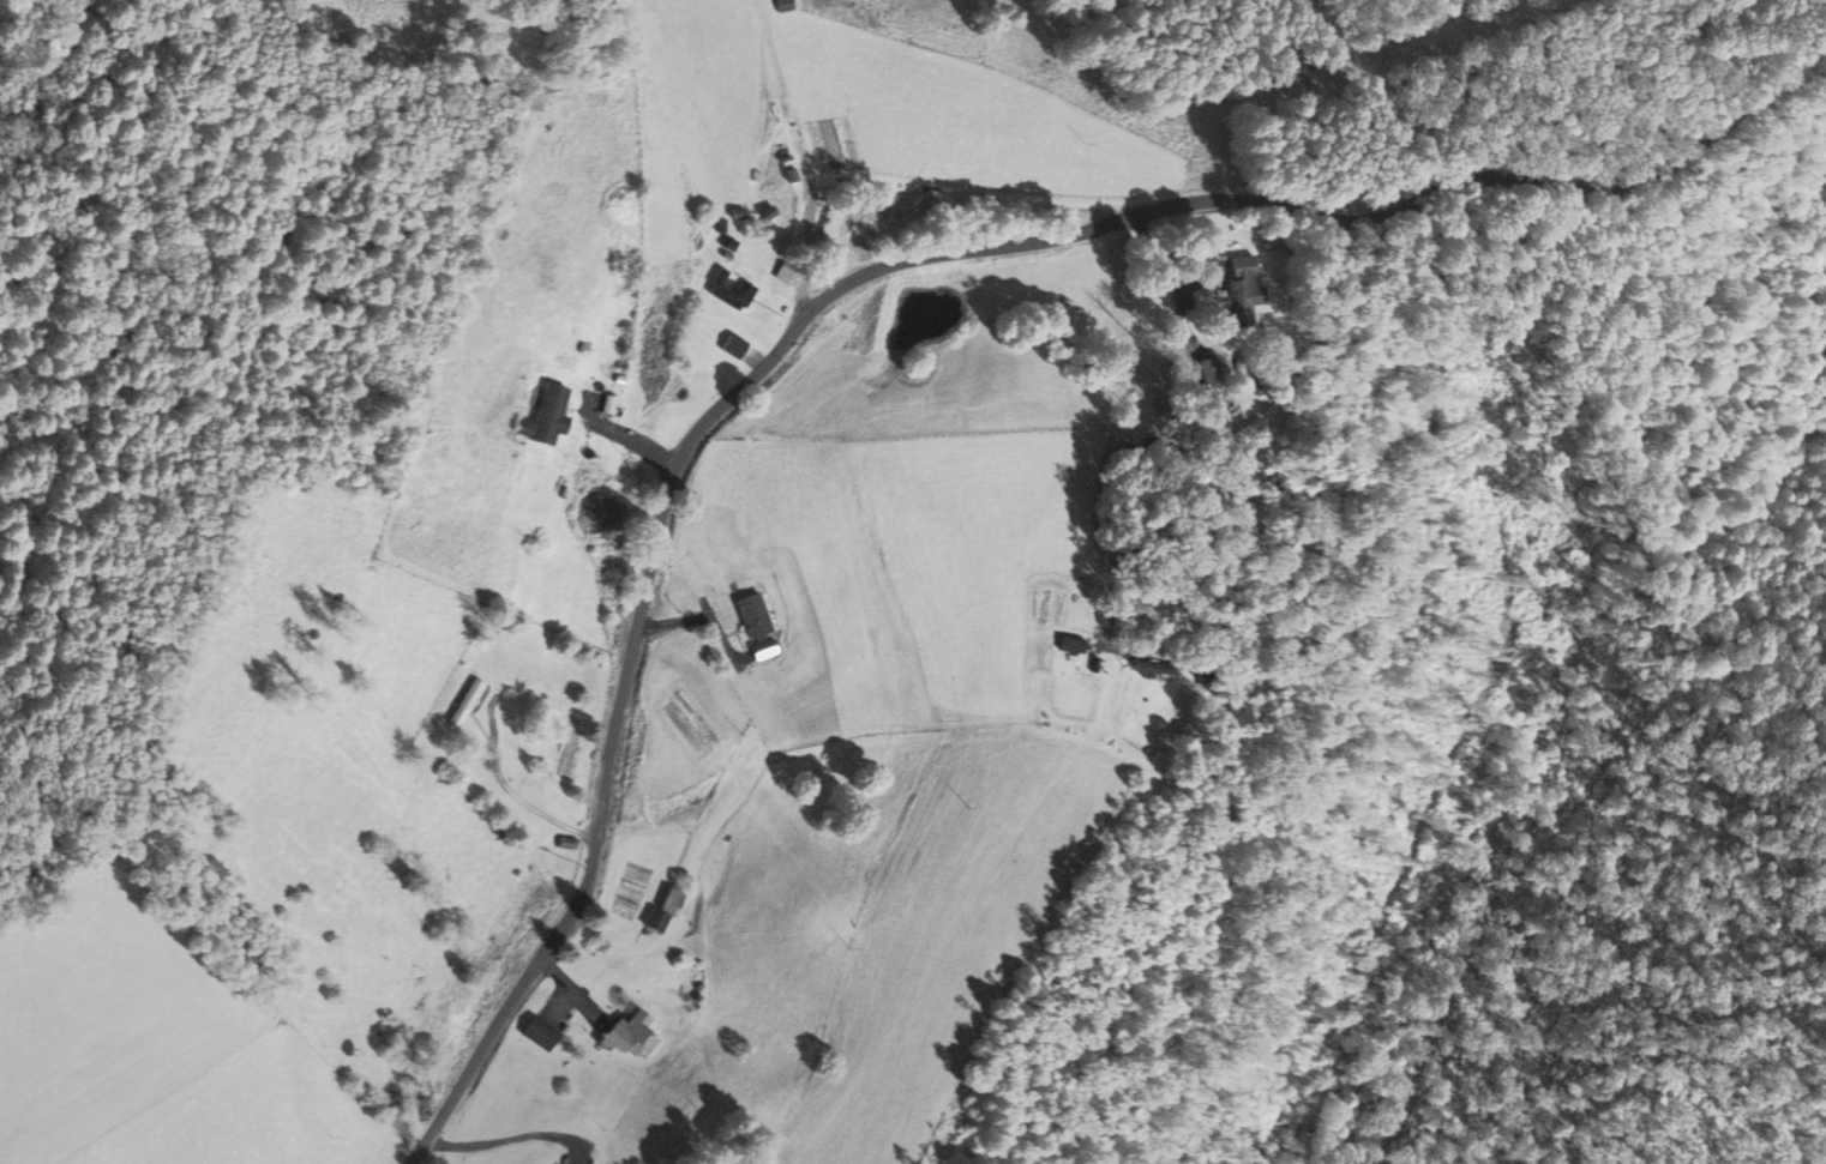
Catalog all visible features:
building: (785, 5)
road: (793, 156)
road: (866, 272)
building: (781, 273)
building: (1241, 288)
building: (727, 290)
building: (732, 346)
building: (1207, 372)
building: (546, 415)
building: (1154, 673)
building: (464, 702)
building: (564, 843)
building: (661, 910)
building: (537, 1033)
building: (631, 1035)
road: (495, 1139)

